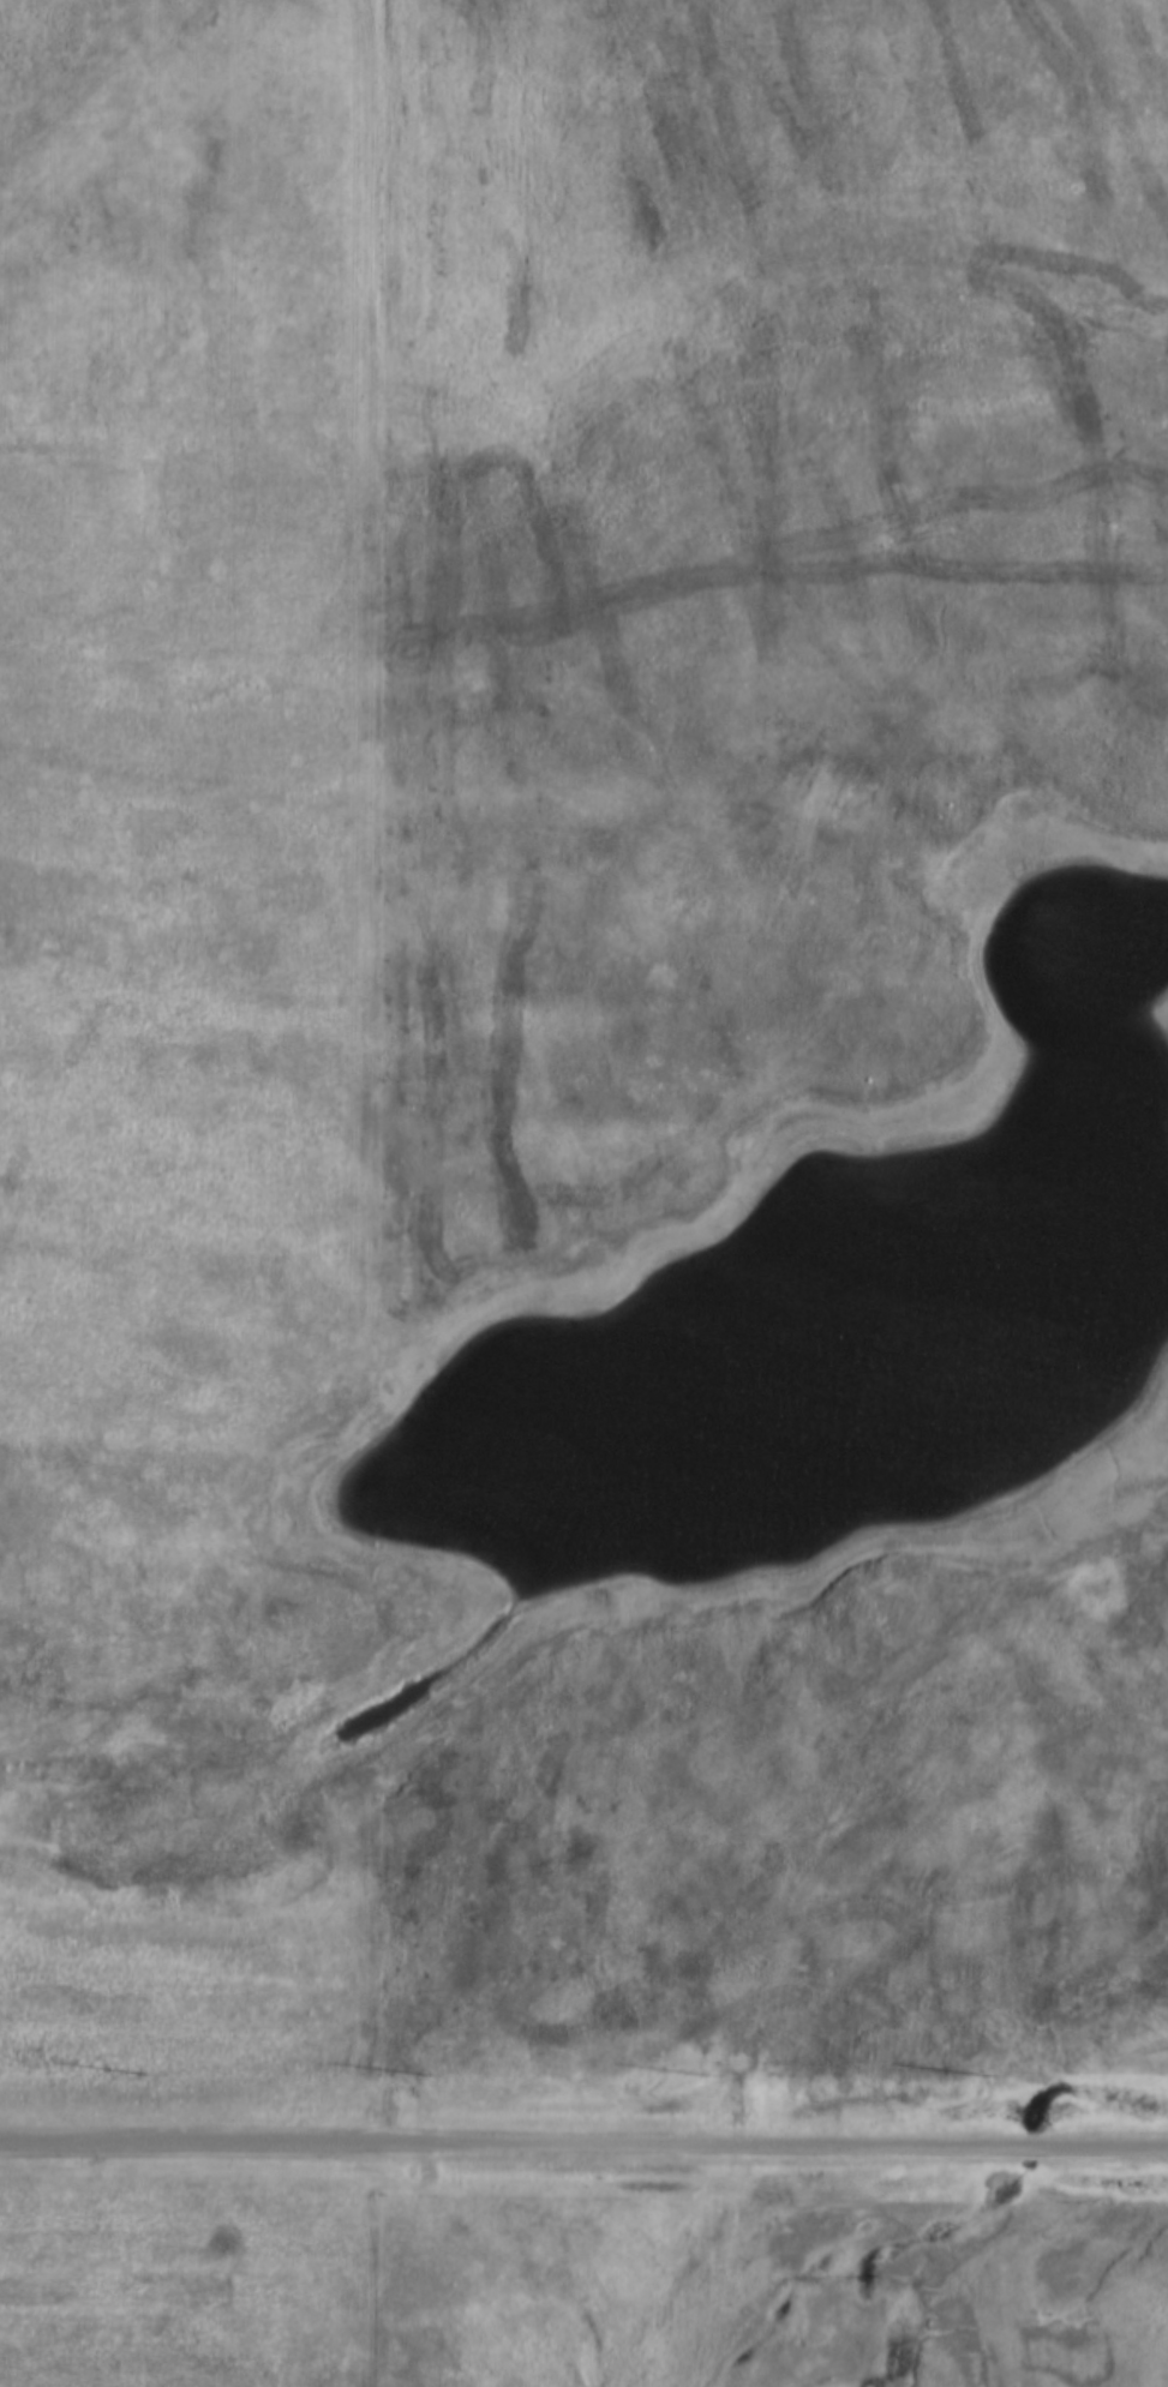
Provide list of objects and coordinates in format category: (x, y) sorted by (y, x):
road: (583, 2143)

